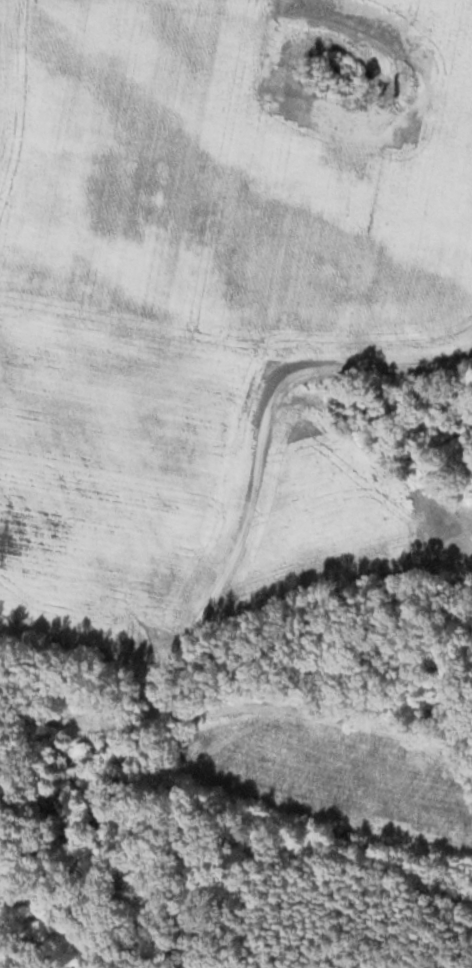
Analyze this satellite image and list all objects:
road: (242, 528)

